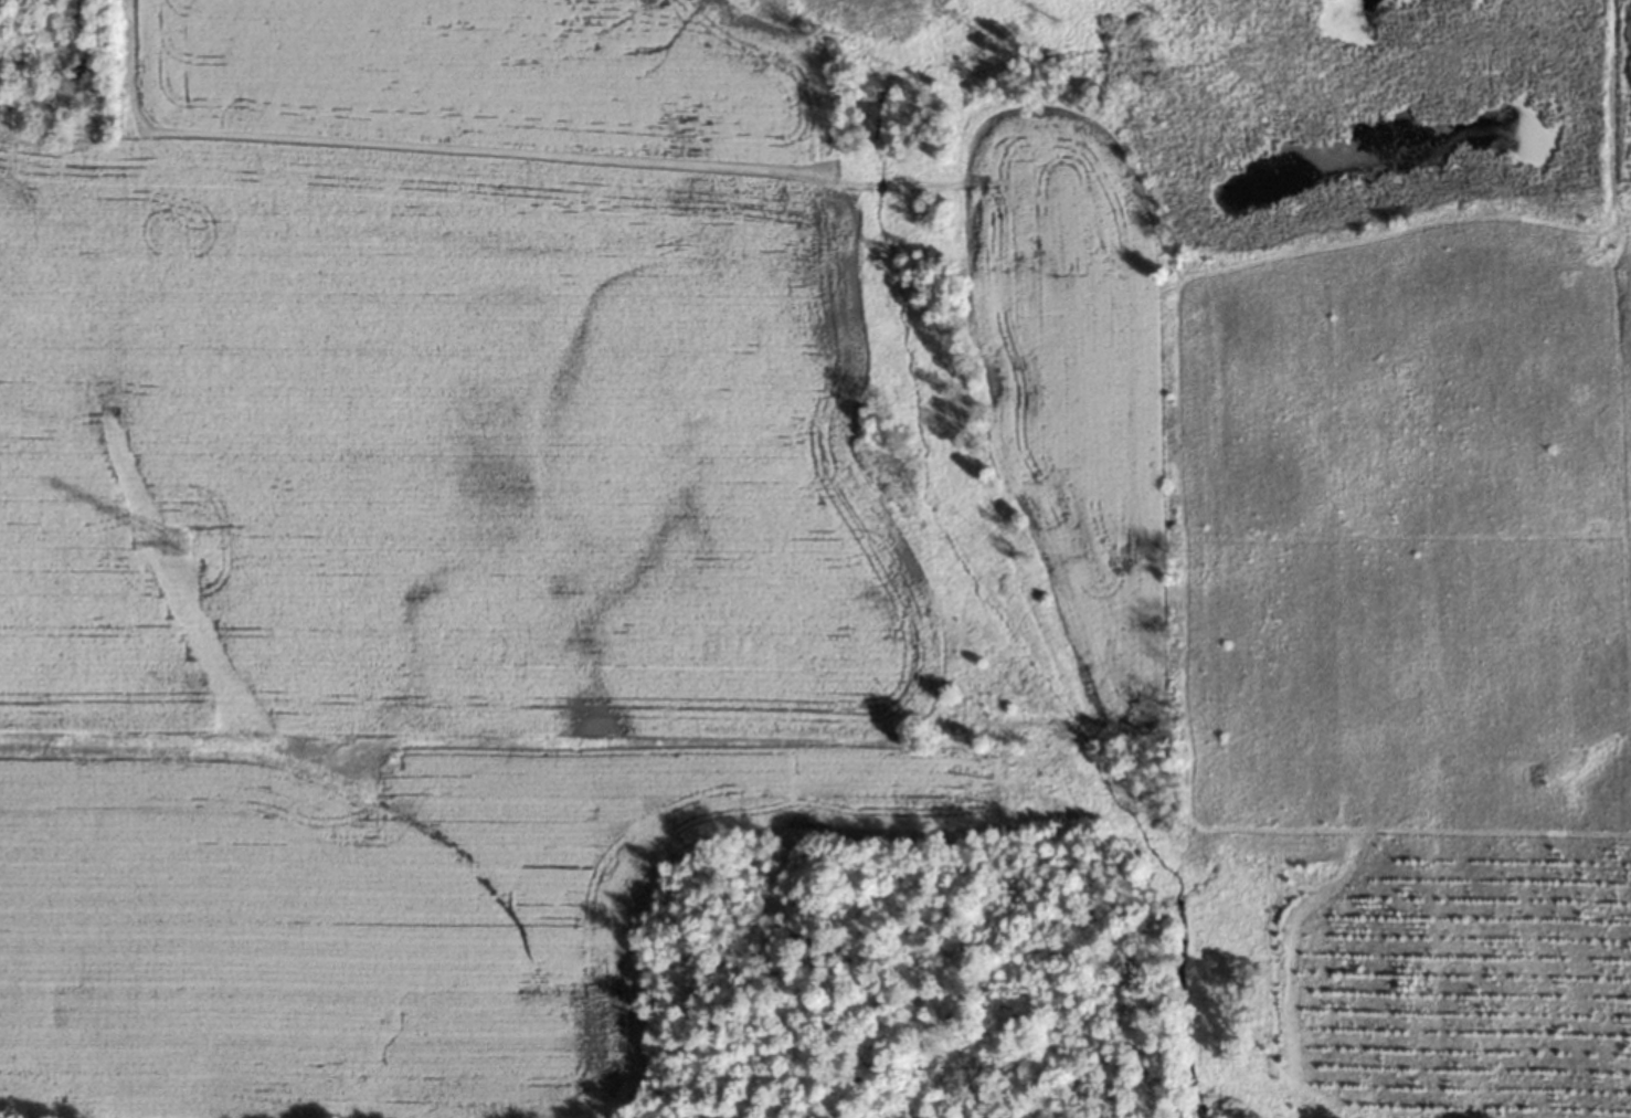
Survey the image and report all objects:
power tower: (172, 540)

